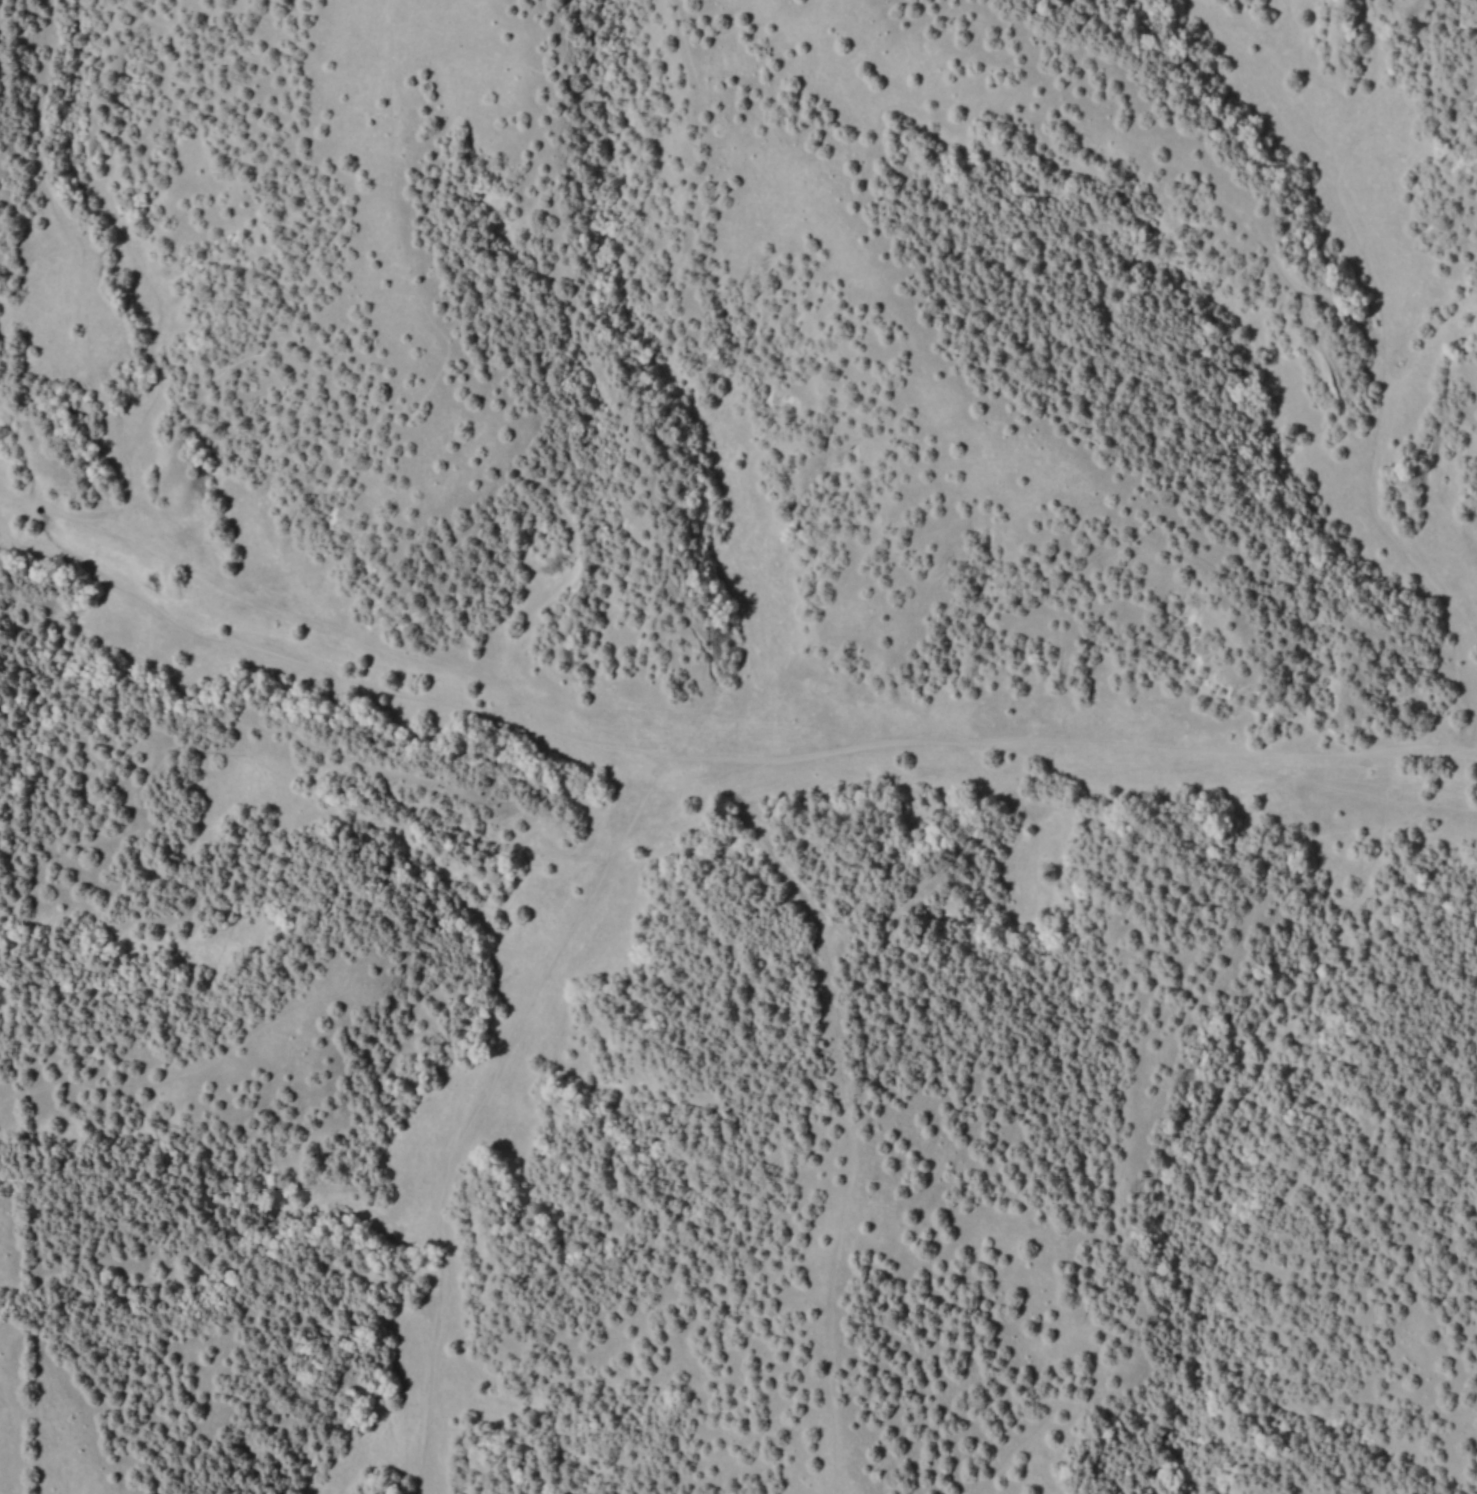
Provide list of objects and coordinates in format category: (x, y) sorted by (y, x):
road: (1376, 30)
road: (956, 124)
road: (116, 222)
road: (1279, 266)
road: (1344, 317)
road: (418, 402)
road: (1379, 427)
road: (631, 436)
road: (9, 568)
road: (308, 667)
crop: (738, 747)
road: (675, 759)
road: (317, 771)
road: (1129, 773)
road: (503, 890)
road: (15, 926)
road: (204, 1060)
road: (845, 1086)
road: (1231, 1107)

